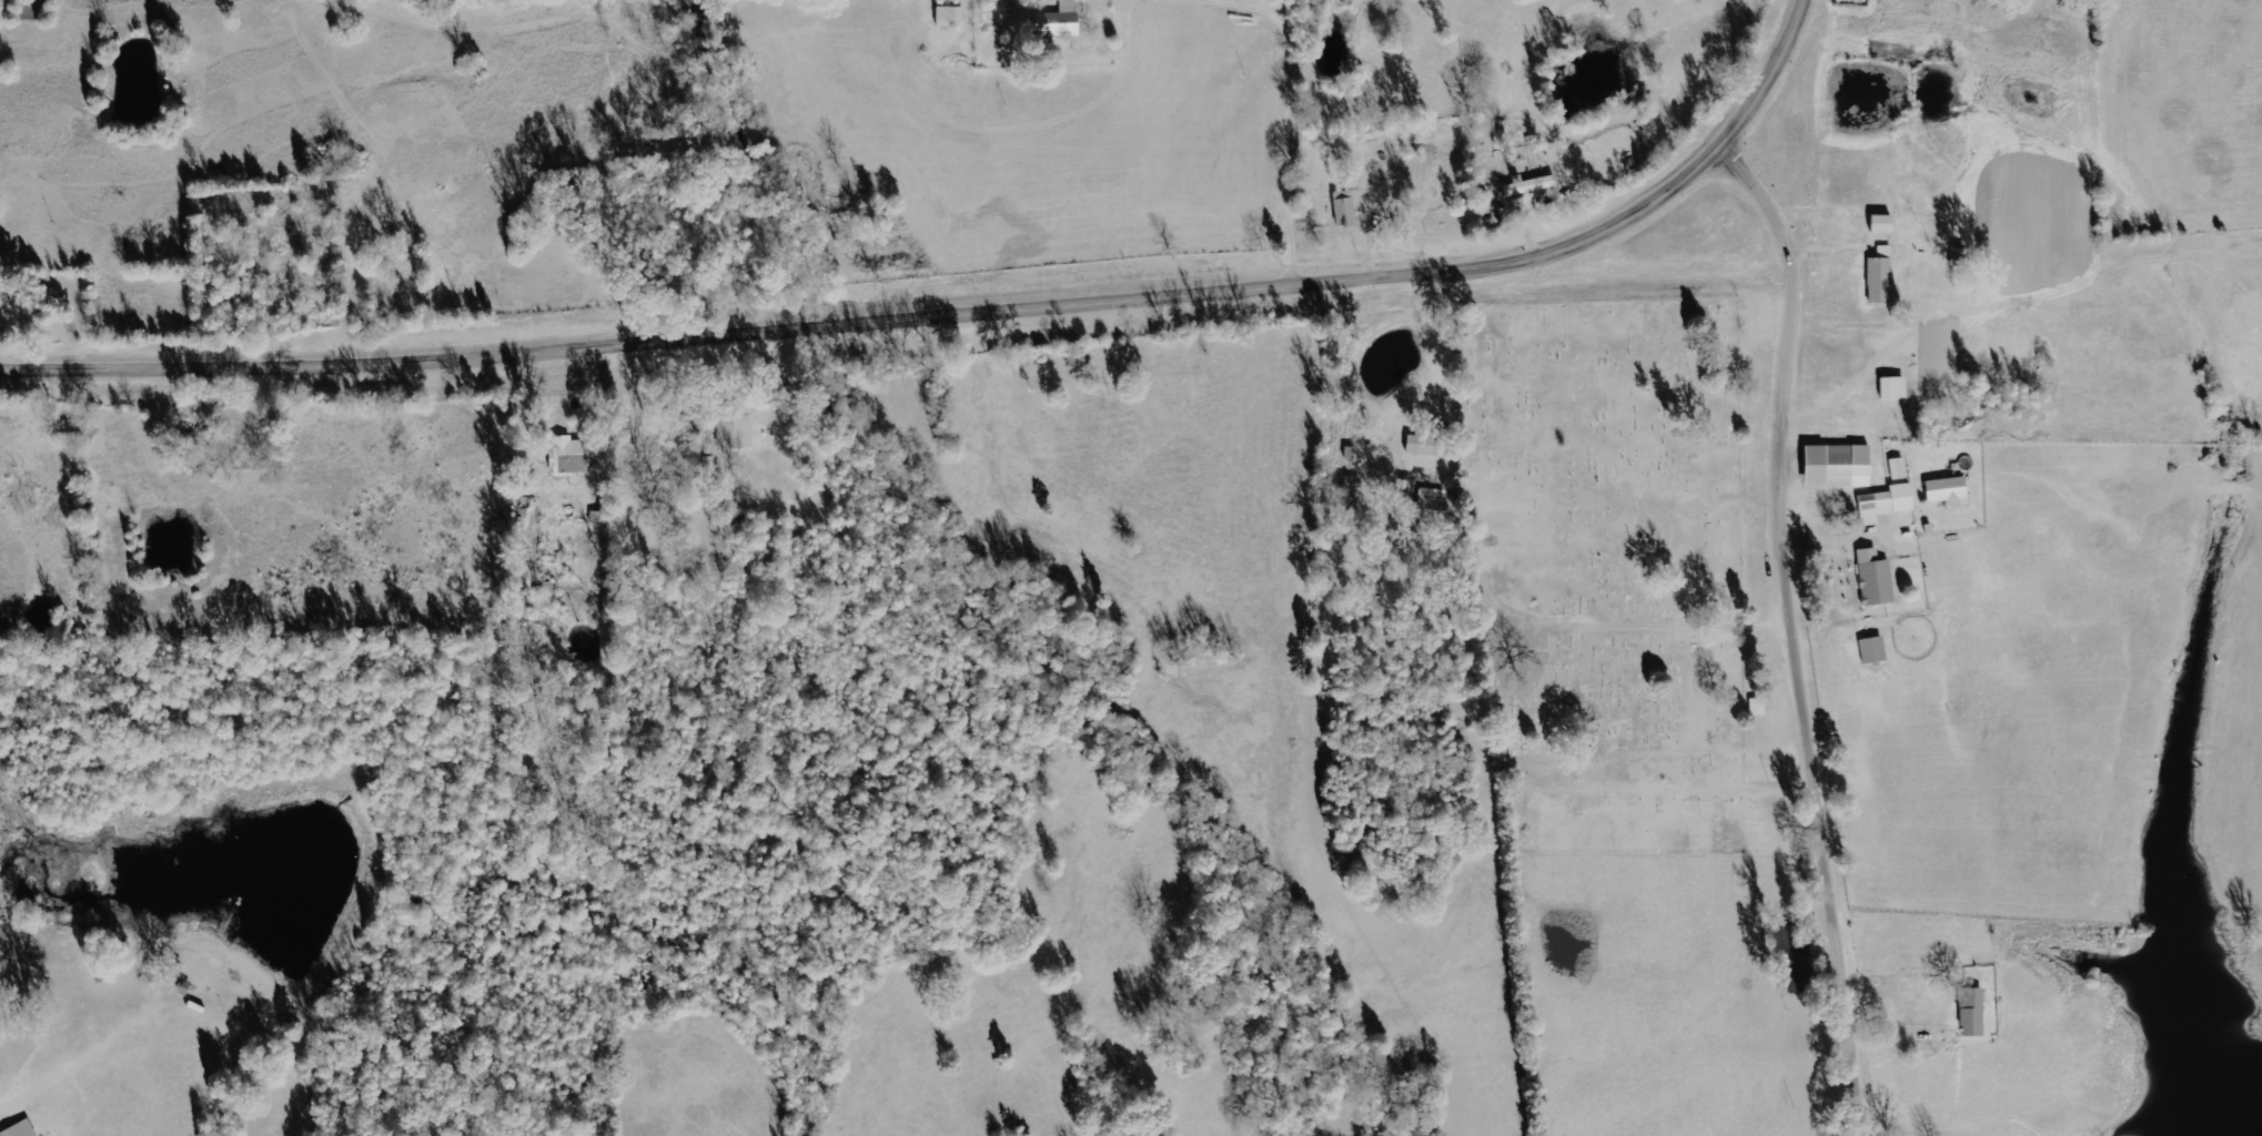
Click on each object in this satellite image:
building: (946, 18)
building: (1056, 22)
road: (1299, 131)
building: (1527, 187)
building: (1342, 210)
building: (1878, 278)
road: (962, 314)
building: (1890, 389)
building: (1418, 444)
building: (569, 457)
building: (1834, 467)
building: (1945, 493)
building: (1882, 505)
building: (1428, 510)
park: (1605, 540)
building: (1871, 580)
road: (1800, 629)
building: (1870, 651)
building: (1970, 1013)

